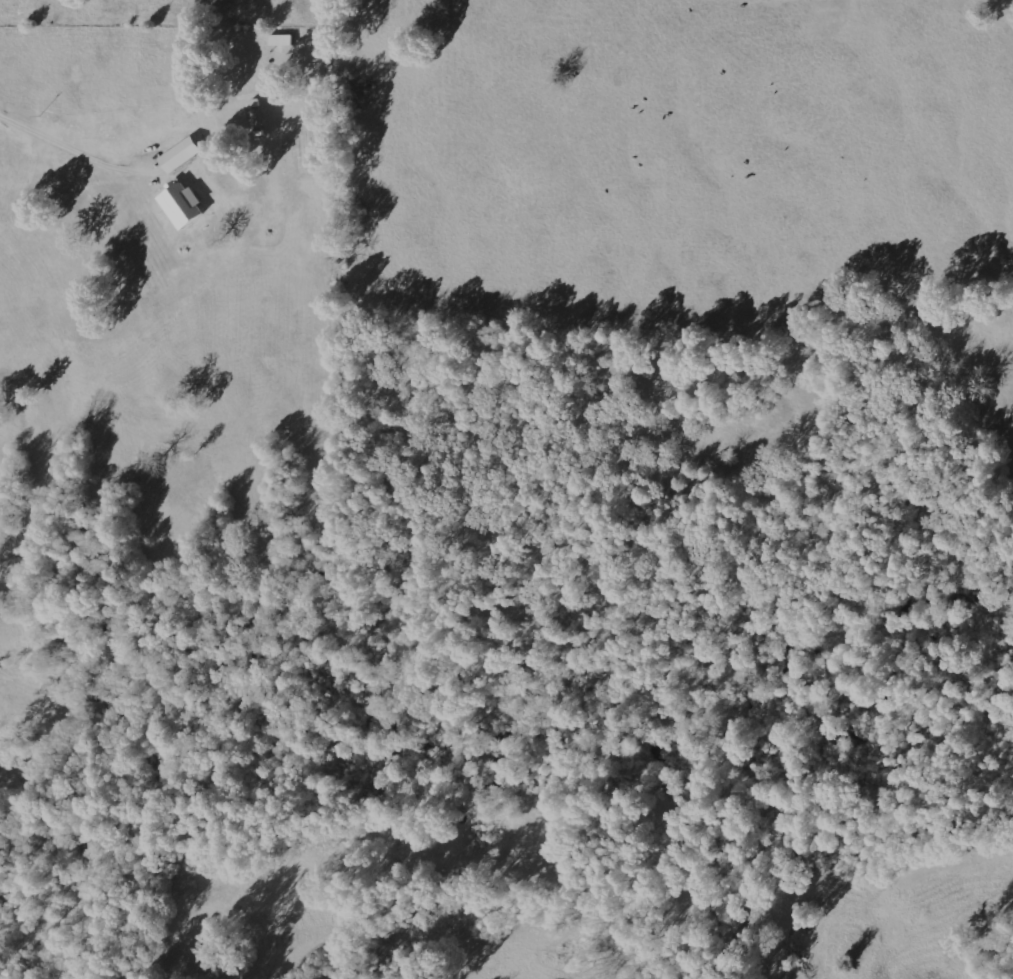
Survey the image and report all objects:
road: (59, 144)
building: (186, 153)
building: (187, 204)

